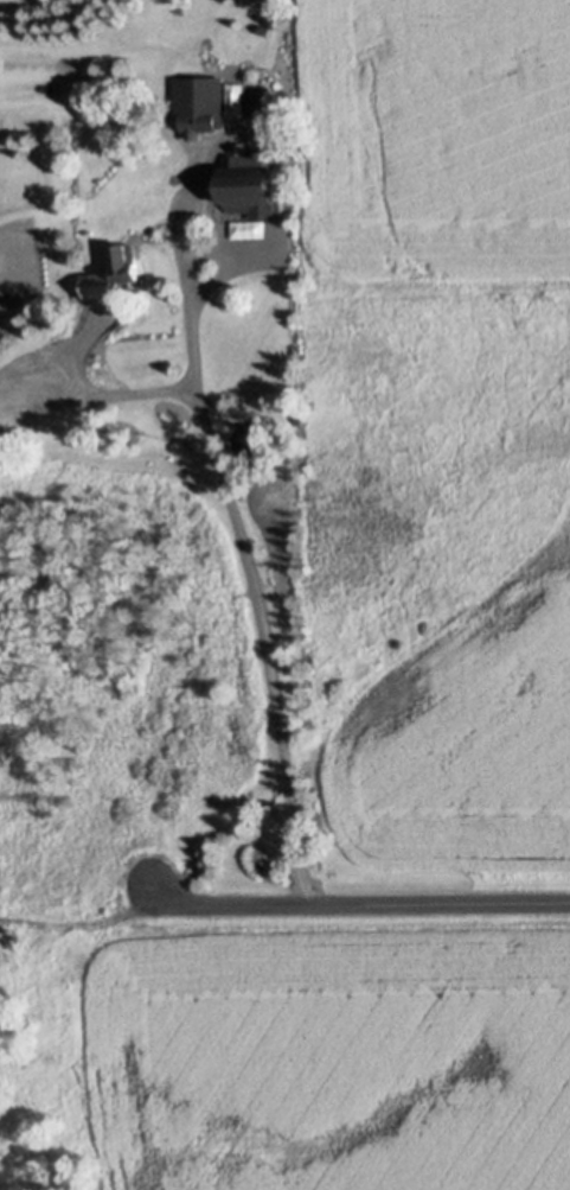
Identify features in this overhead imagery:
building: (264, 28)
building: (46, 88)
building: (198, 103)
building: (249, 184)
building: (158, 230)
building: (124, 261)
road: (96, 392)
road: (245, 555)
road: (353, 902)

